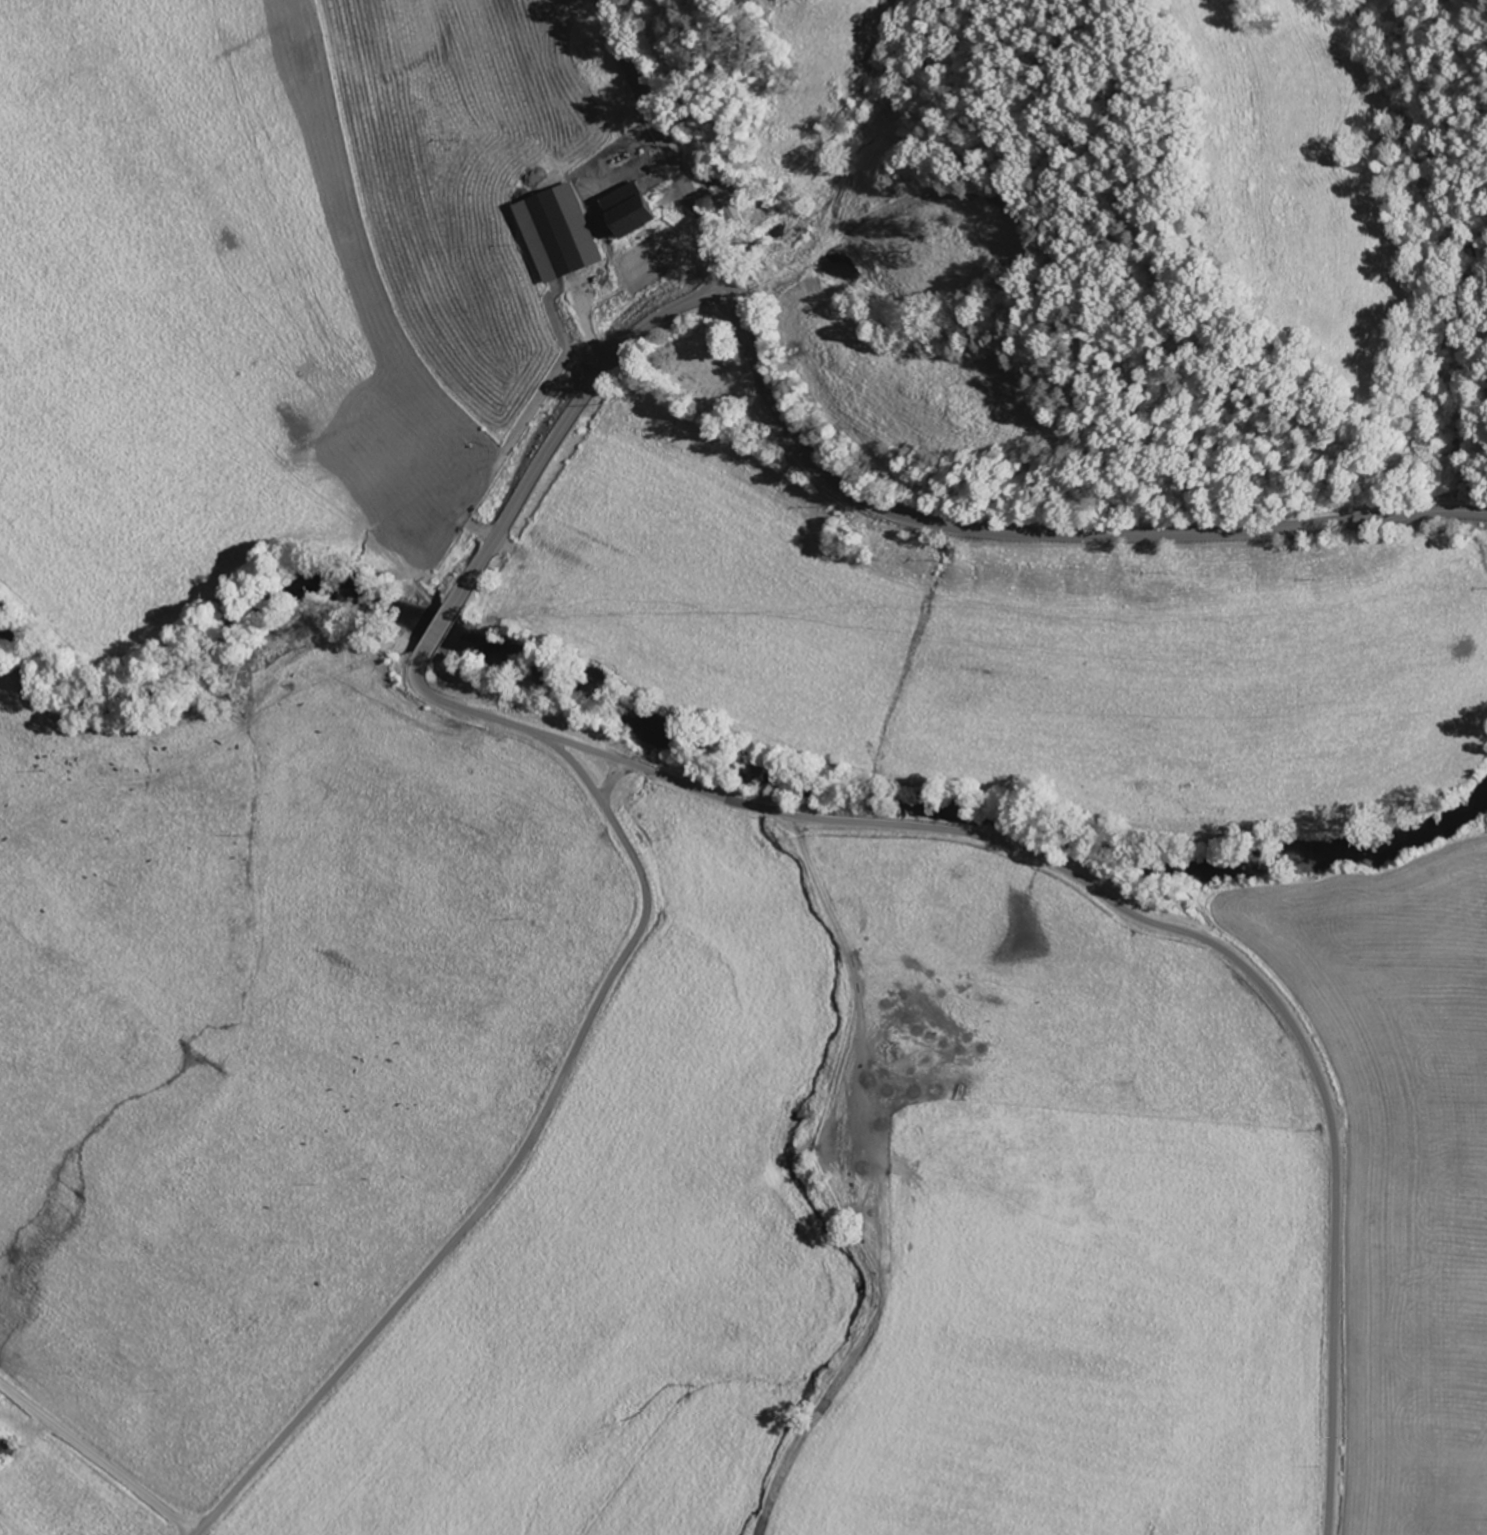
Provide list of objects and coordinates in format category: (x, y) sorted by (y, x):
building: (731, 201)
building: (560, 235)
road: (710, 299)
road: (583, 405)
road: (890, 508)
road: (436, 633)
river: (703, 746)
road: (611, 779)
road: (1105, 896)
road: (517, 1160)
road: (96, 1459)

